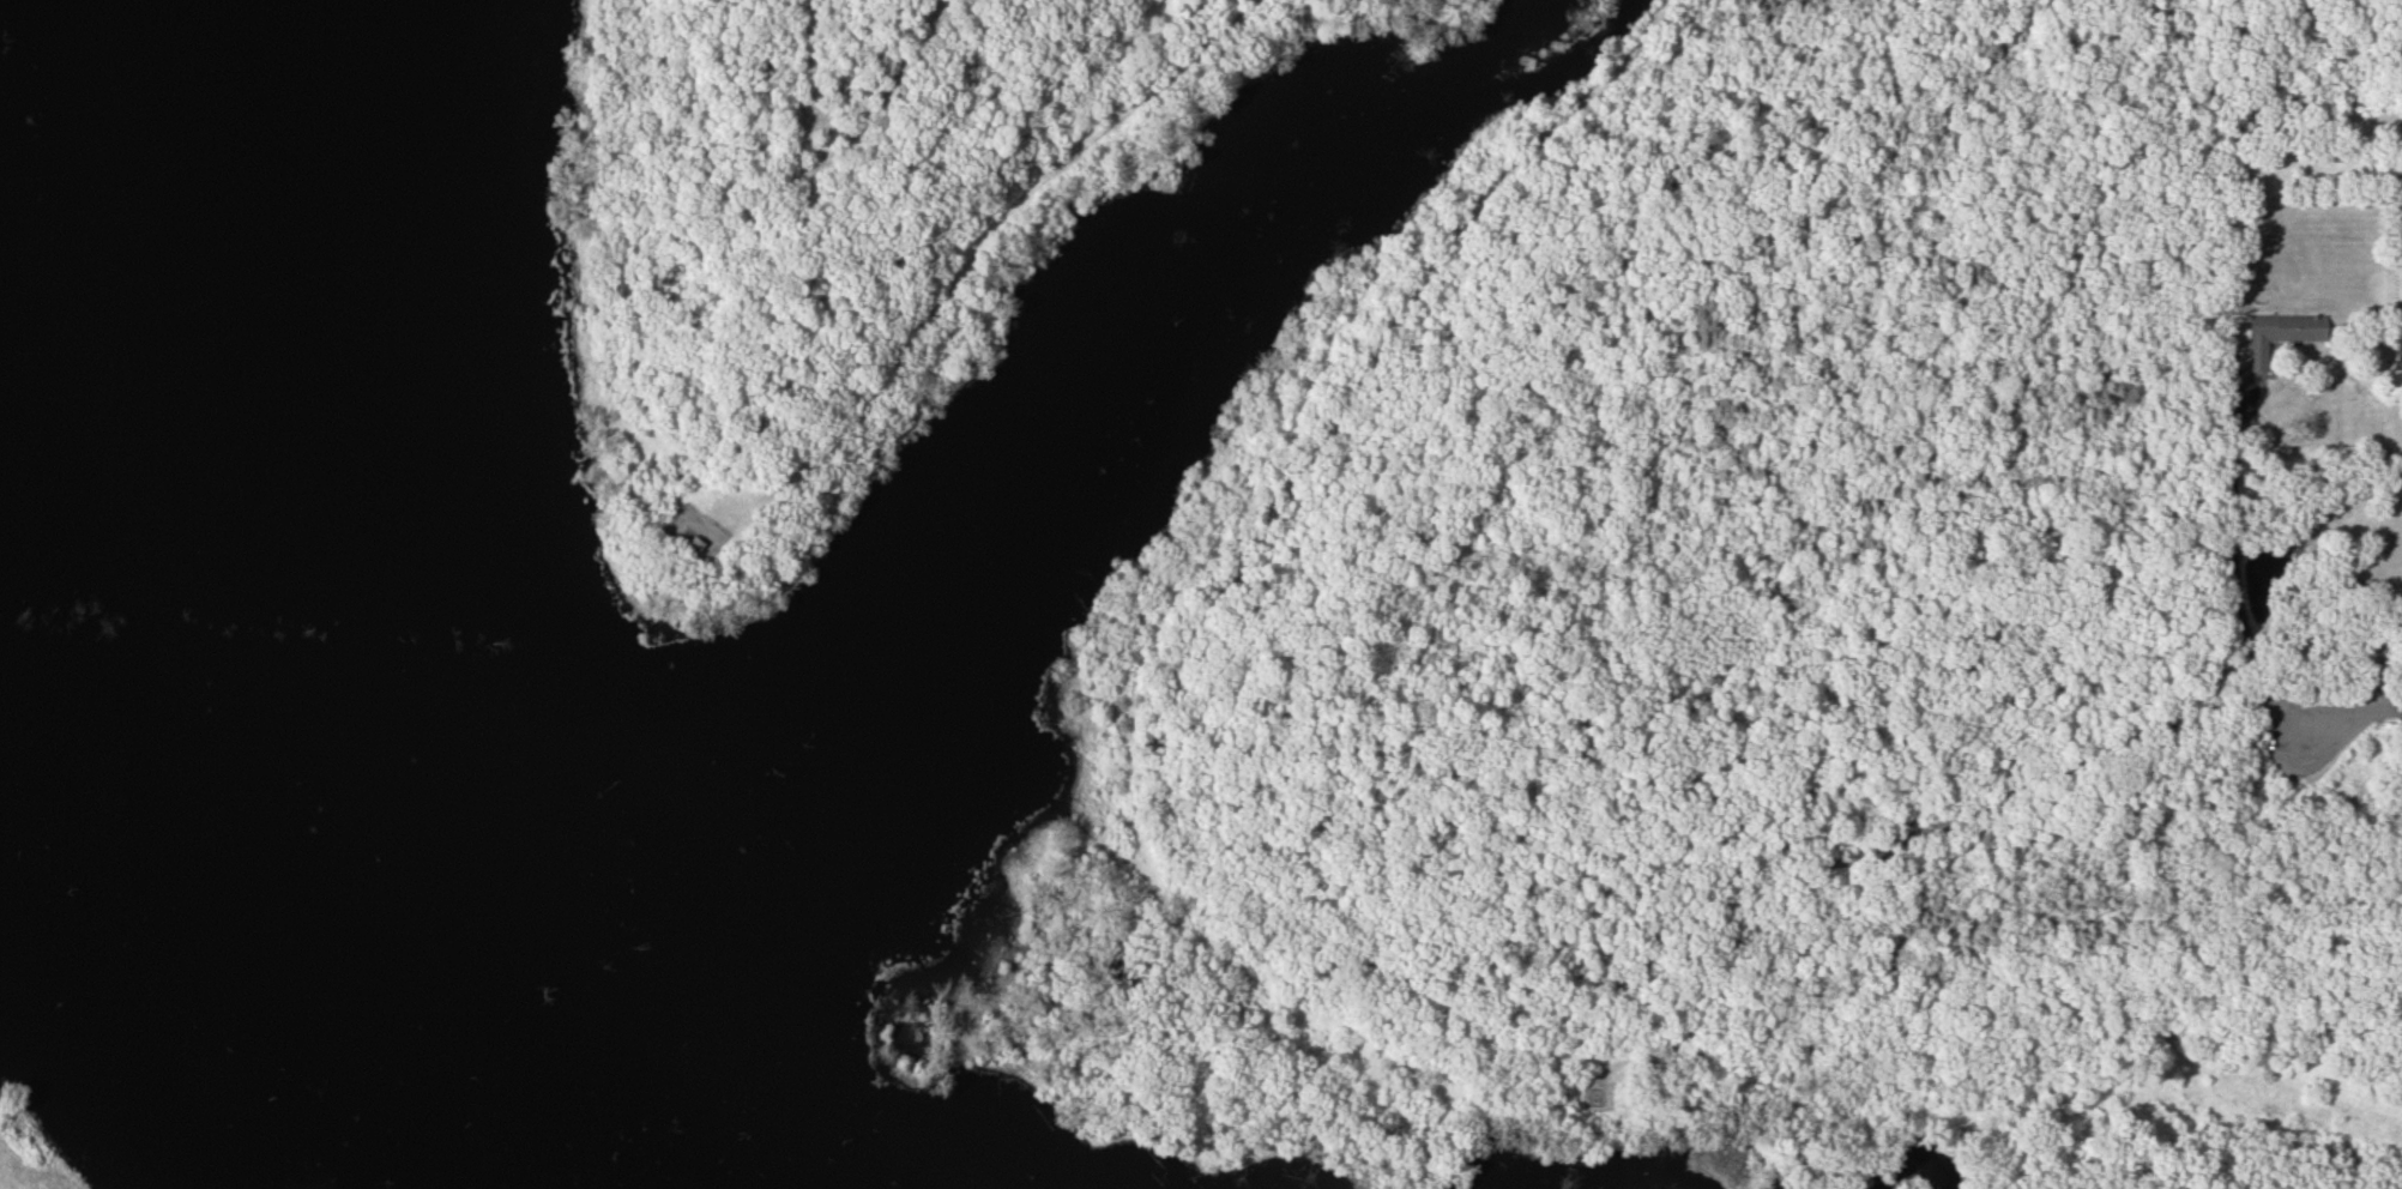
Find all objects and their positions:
road: (840, 146)
road: (970, 256)
building: (2279, 333)
building: (693, 535)
road: (2233, 575)
park: (1100, 594)
road: (2383, 657)
road: (2347, 713)
road: (1953, 817)
road: (1297, 921)

